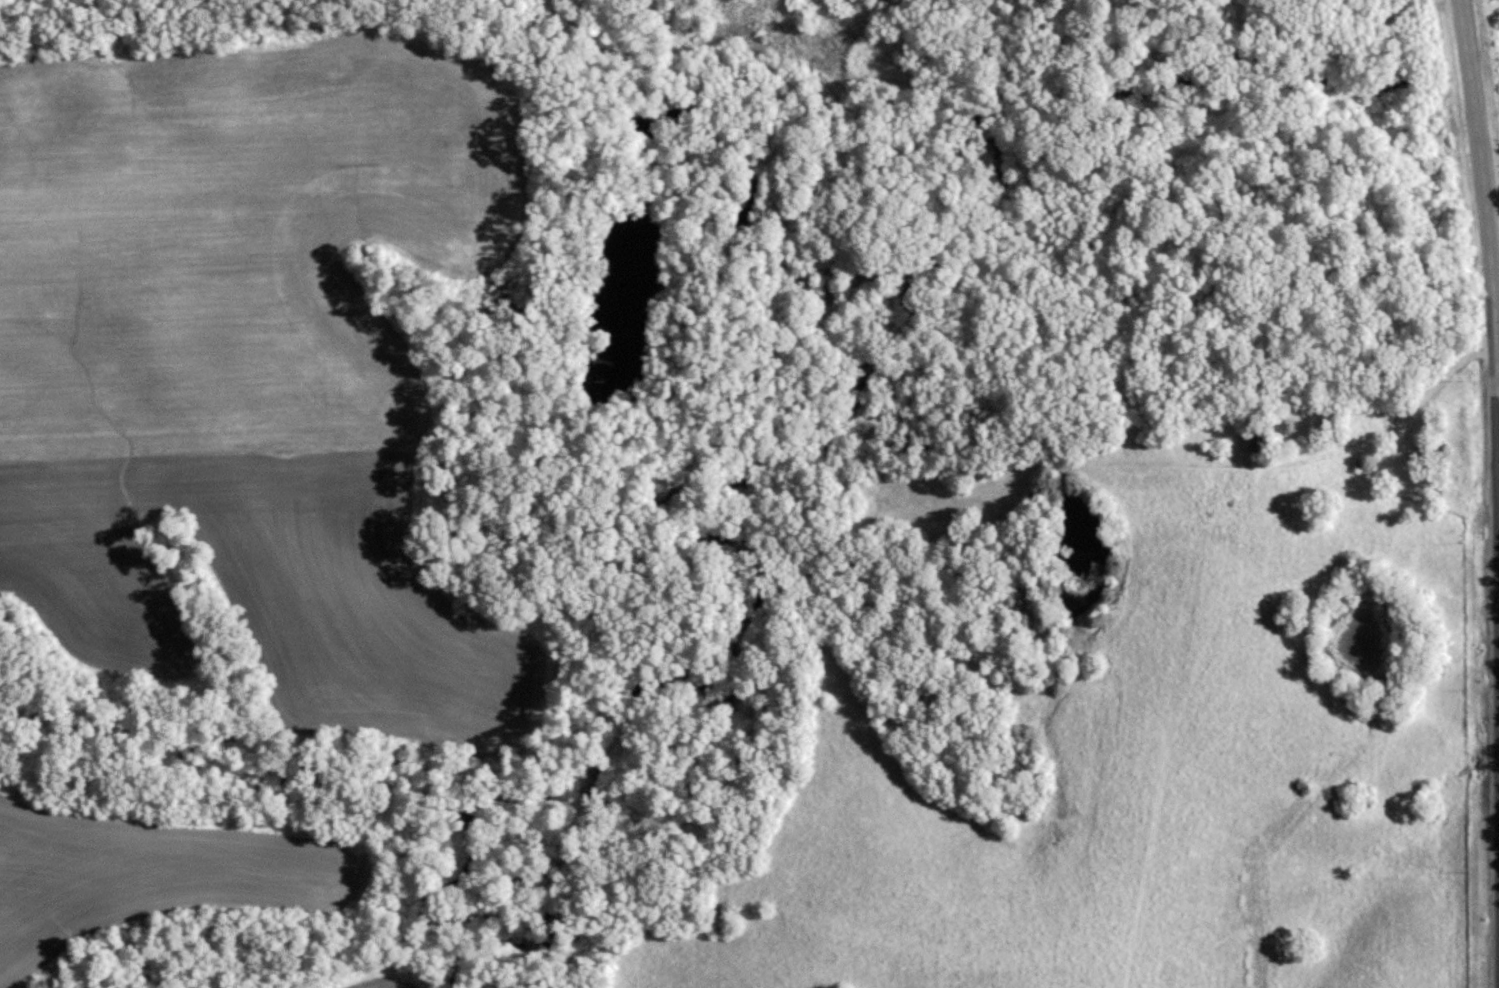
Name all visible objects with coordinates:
road: (1484, 197)
road: (1498, 414)

